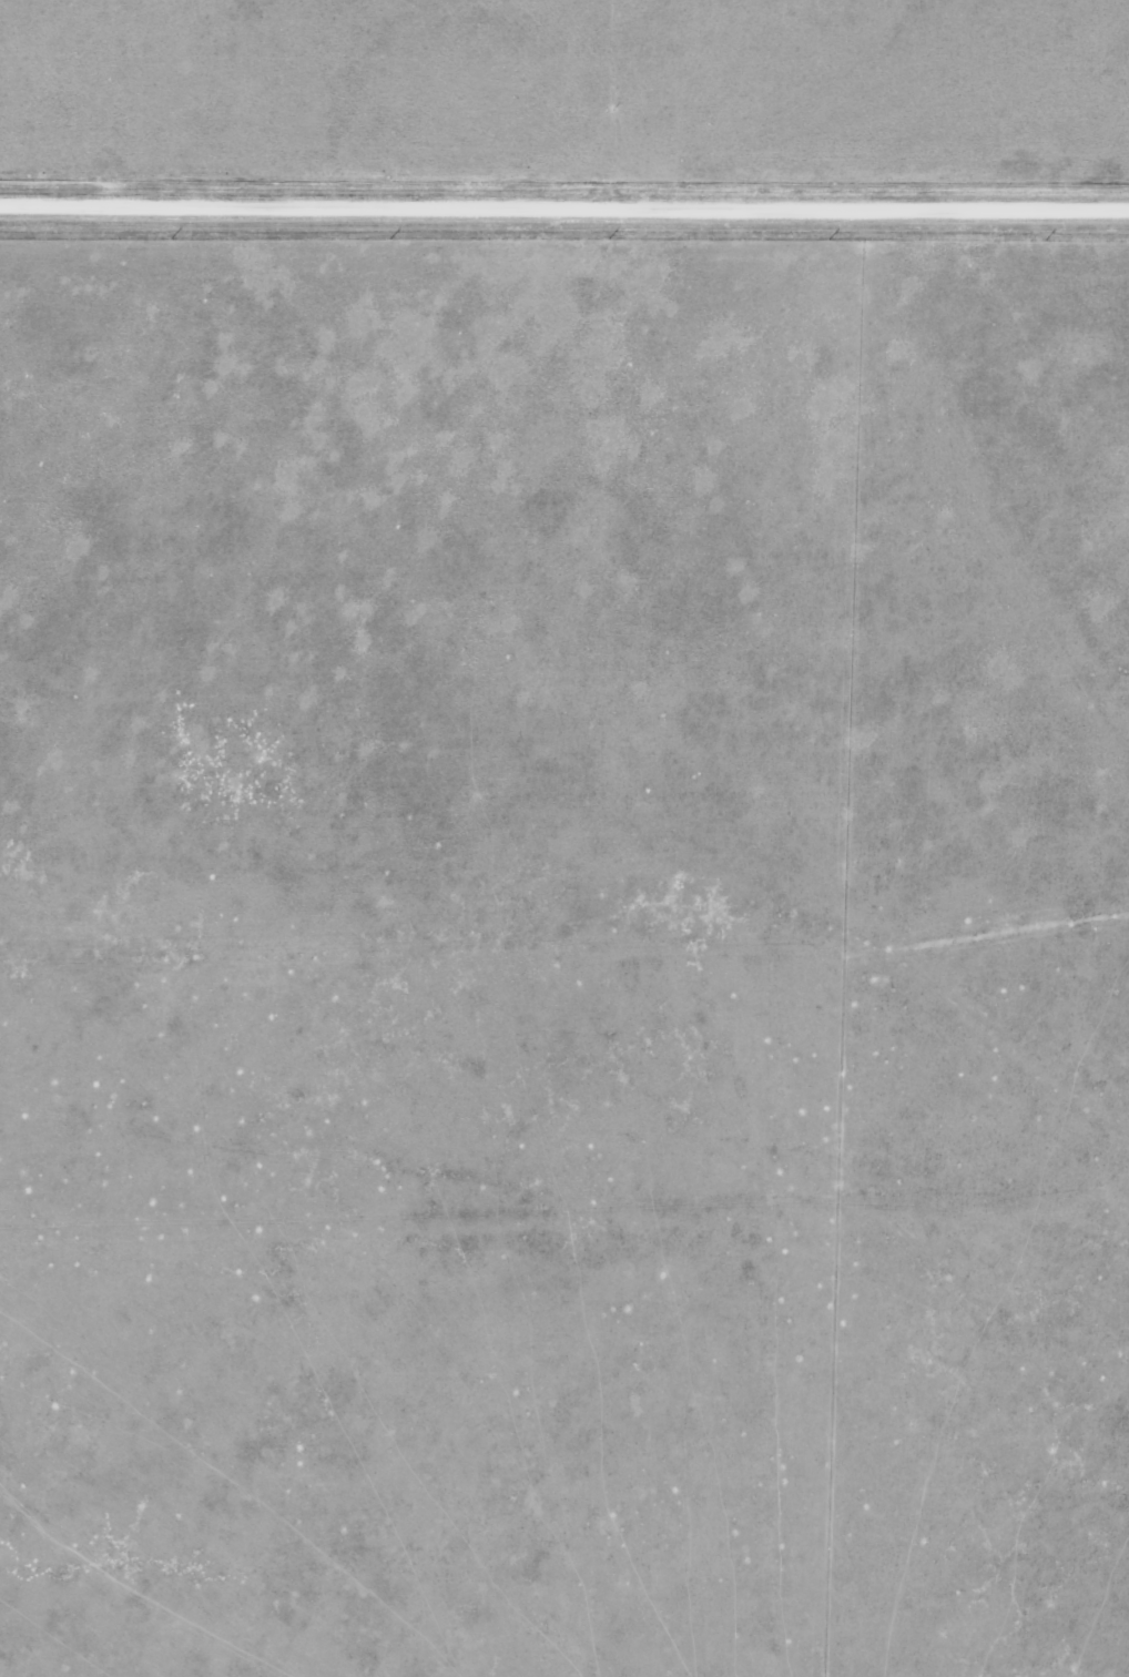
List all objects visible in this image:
road: (563, 203)

